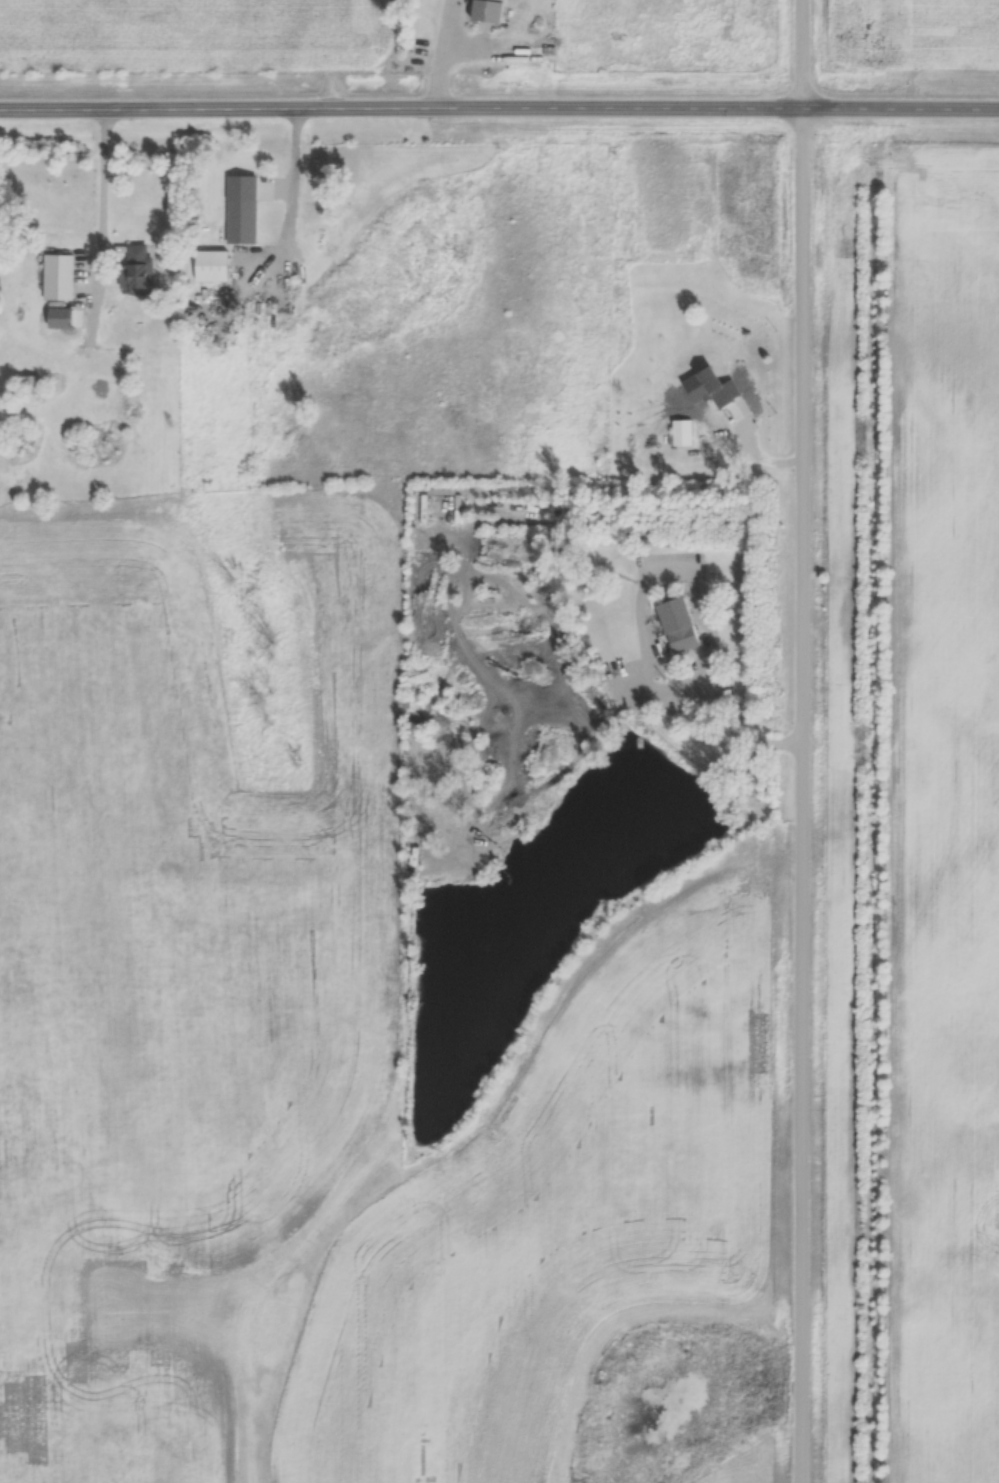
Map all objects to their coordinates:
building: (490, 11)
road: (440, 53)
road: (499, 108)
road: (296, 171)
road: (103, 200)
building: (272, 212)
building: (214, 267)
building: (142, 269)
building: (60, 278)
building: (683, 433)
building: (713, 439)
building: (21, 441)
building: (107, 447)
building: (683, 626)
road: (733, 719)
road: (805, 741)

